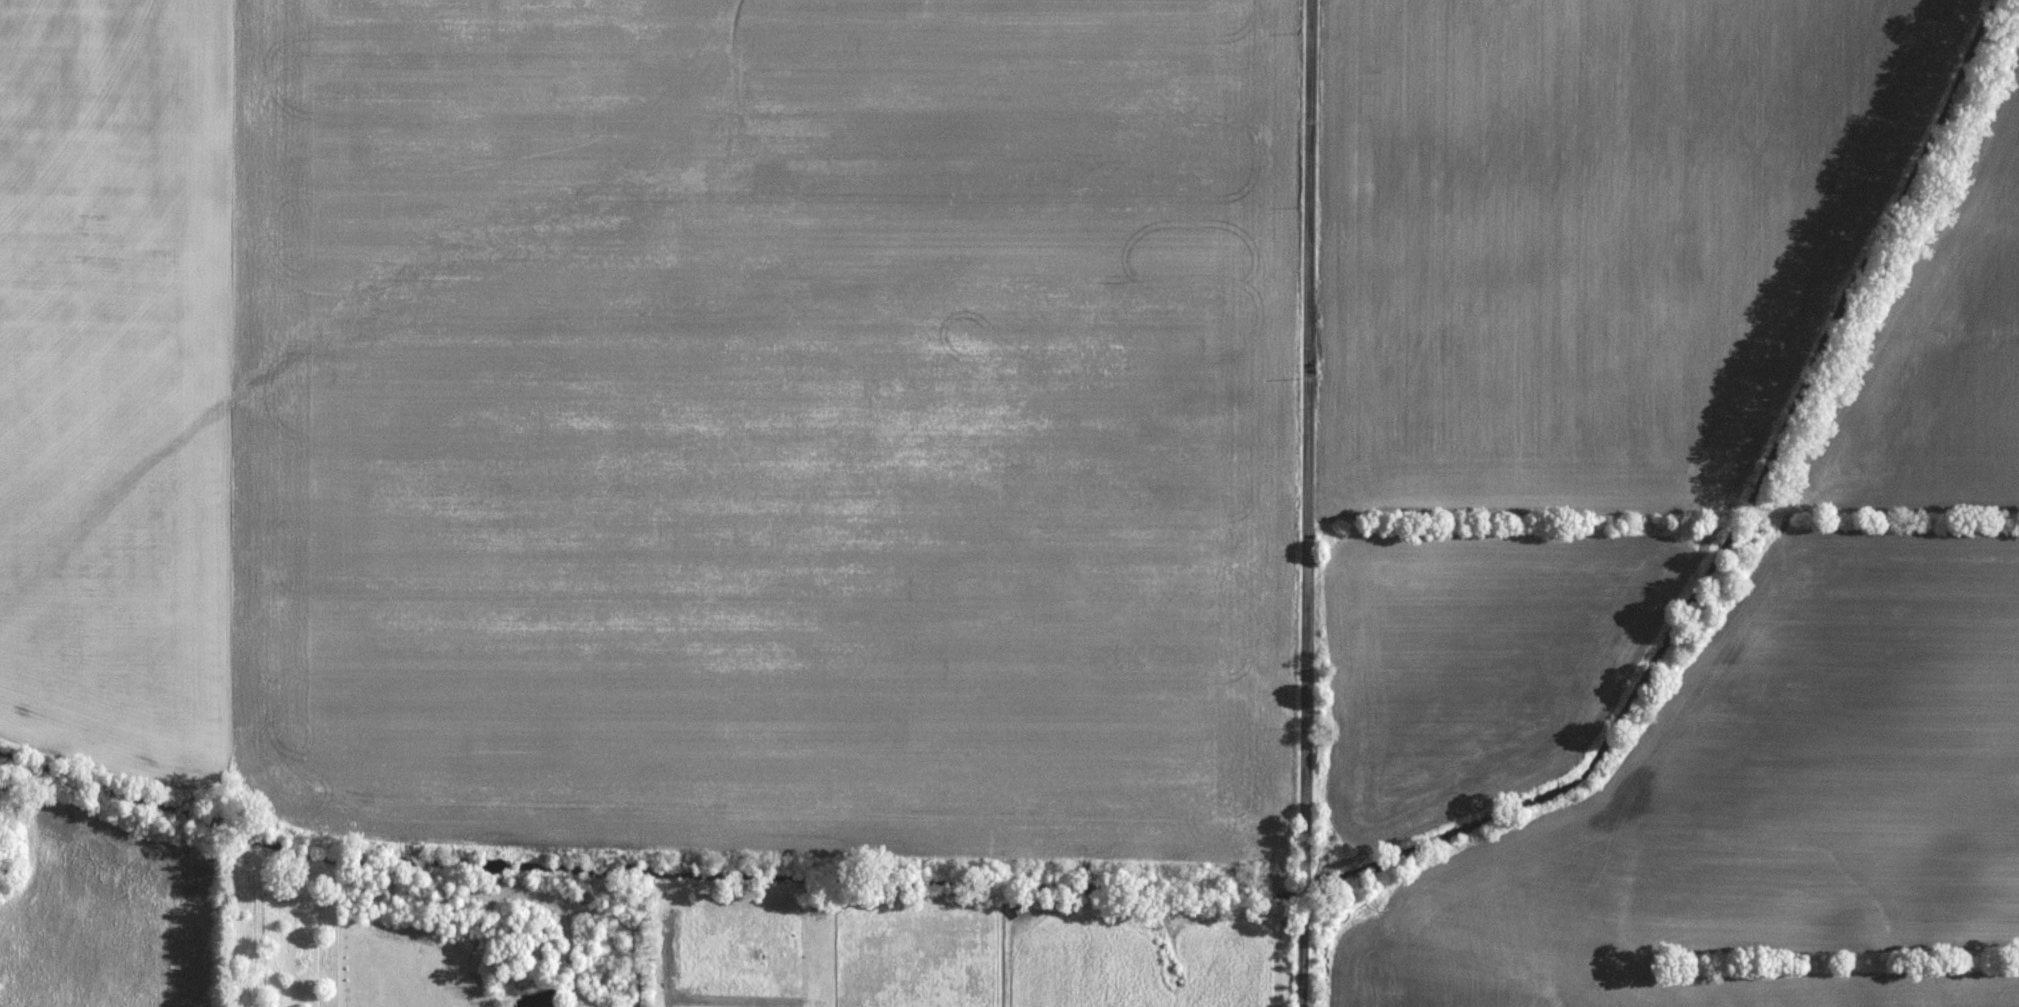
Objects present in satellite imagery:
road: (1308, 503)
building: (583, 897)

